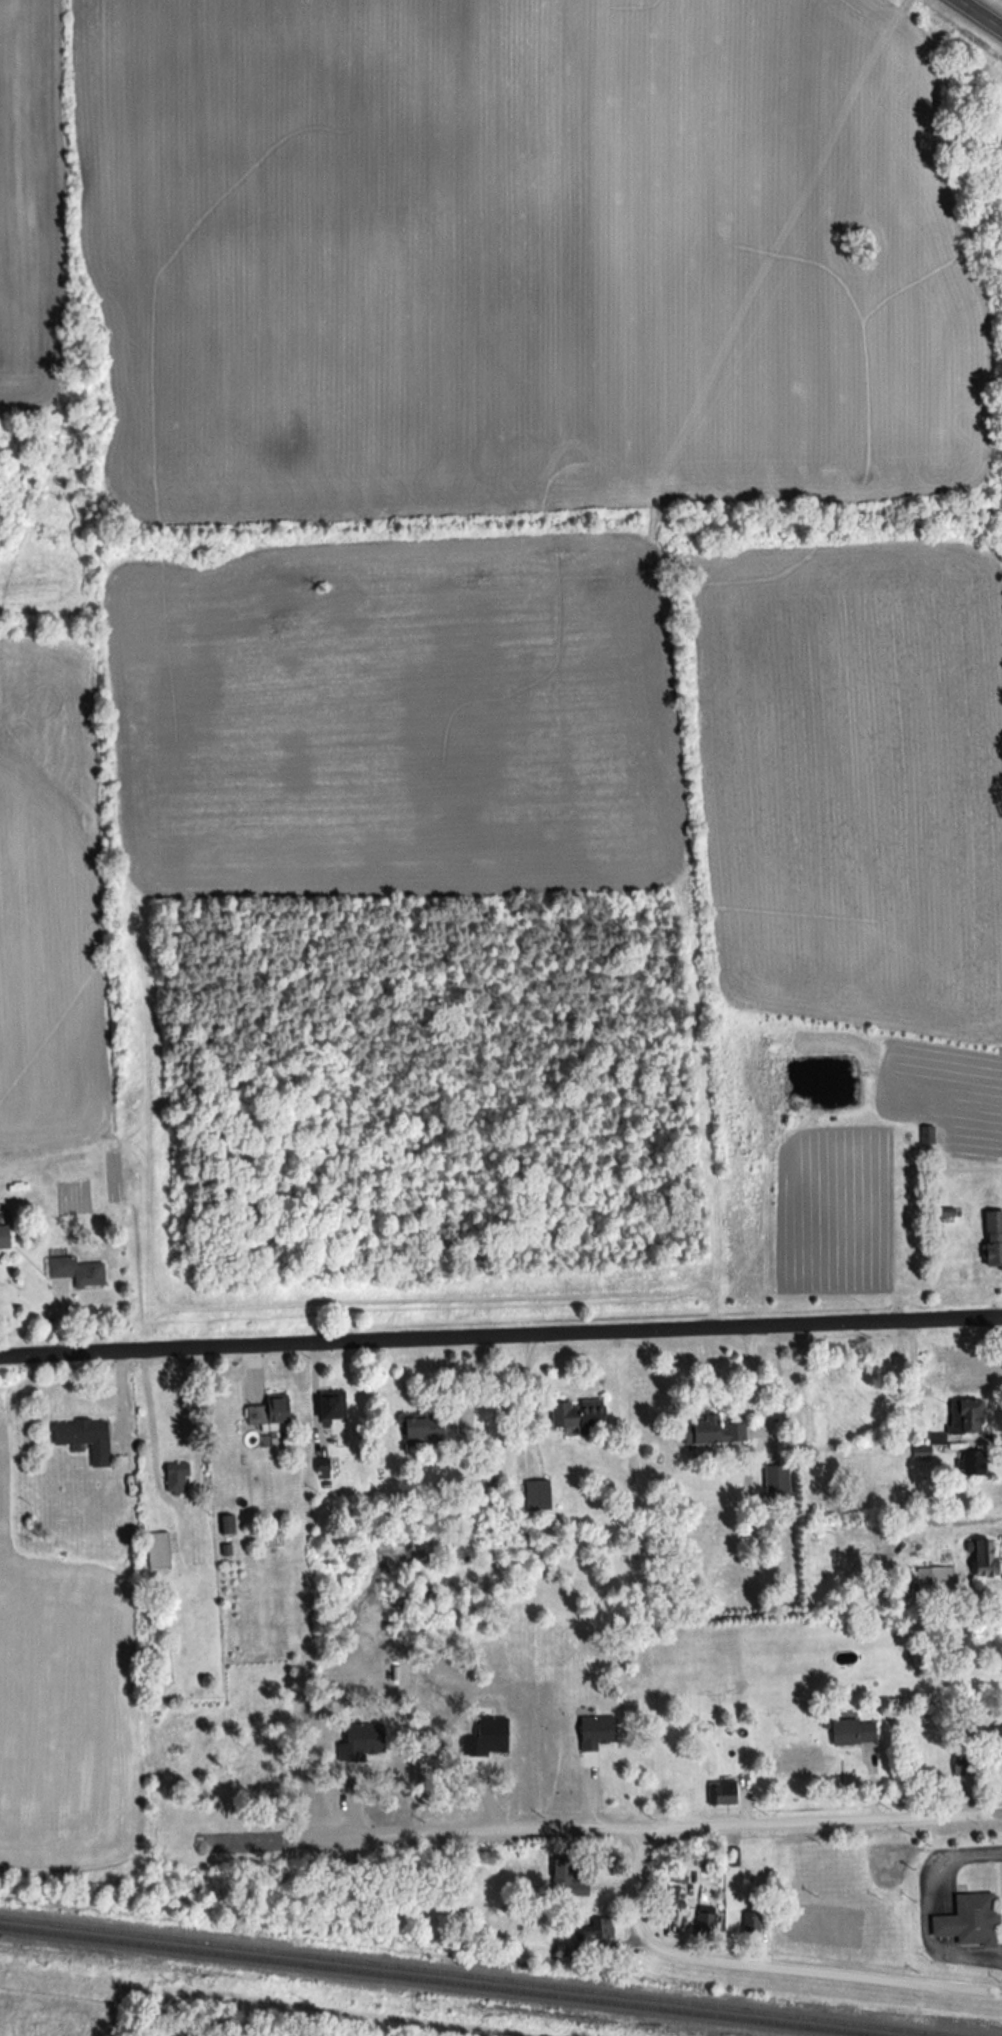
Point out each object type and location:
road: (982, 12)
building: (862, 1177)
building: (3, 1237)
building: (991, 1240)
building: (74, 1271)
road: (500, 1339)
road: (314, 1400)
road: (528, 1402)
building: (328, 1405)
building: (267, 1413)
building: (576, 1414)
building: (964, 1417)
building: (420, 1429)
building: (711, 1431)
building: (82, 1438)
building: (972, 1464)
building: (175, 1478)
building: (775, 1484)
building: (536, 1496)
building: (226, 1525)
building: (156, 1551)
building: (981, 1559)
building: (932, 1581)
building: (850, 1731)
building: (996, 1742)
building: (722, 1793)
road: (827, 1821)
building: (560, 1877)
road: (630, 1893)
road: (841, 1898)
building: (666, 1900)
building: (703, 1921)
building: (967, 1922)
building: (602, 1925)
building: (752, 1926)
road: (830, 1974)
railway: (473, 1976)
railway: (437, 1981)

